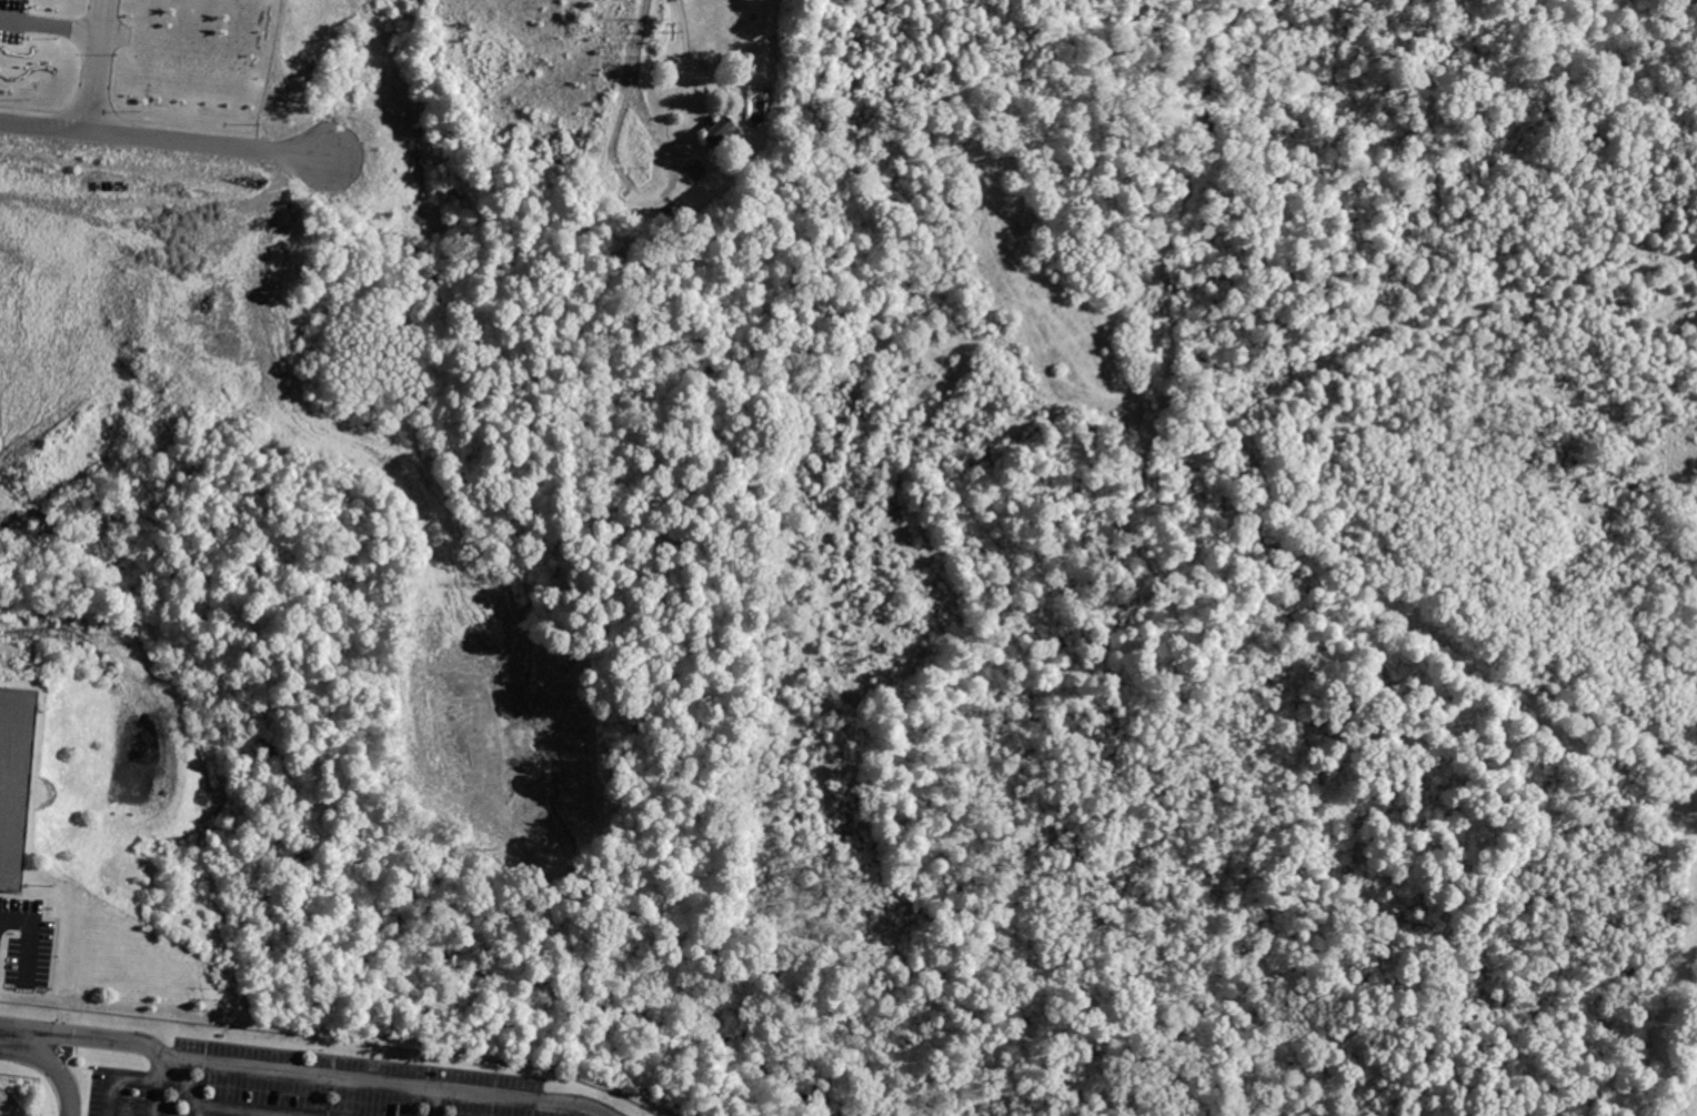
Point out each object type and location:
road: (62, 27)
road: (96, 64)
building: (720, 131)
road: (162, 138)
building: (17, 784)
road: (11, 1037)
road: (58, 1072)
road: (315, 1075)

